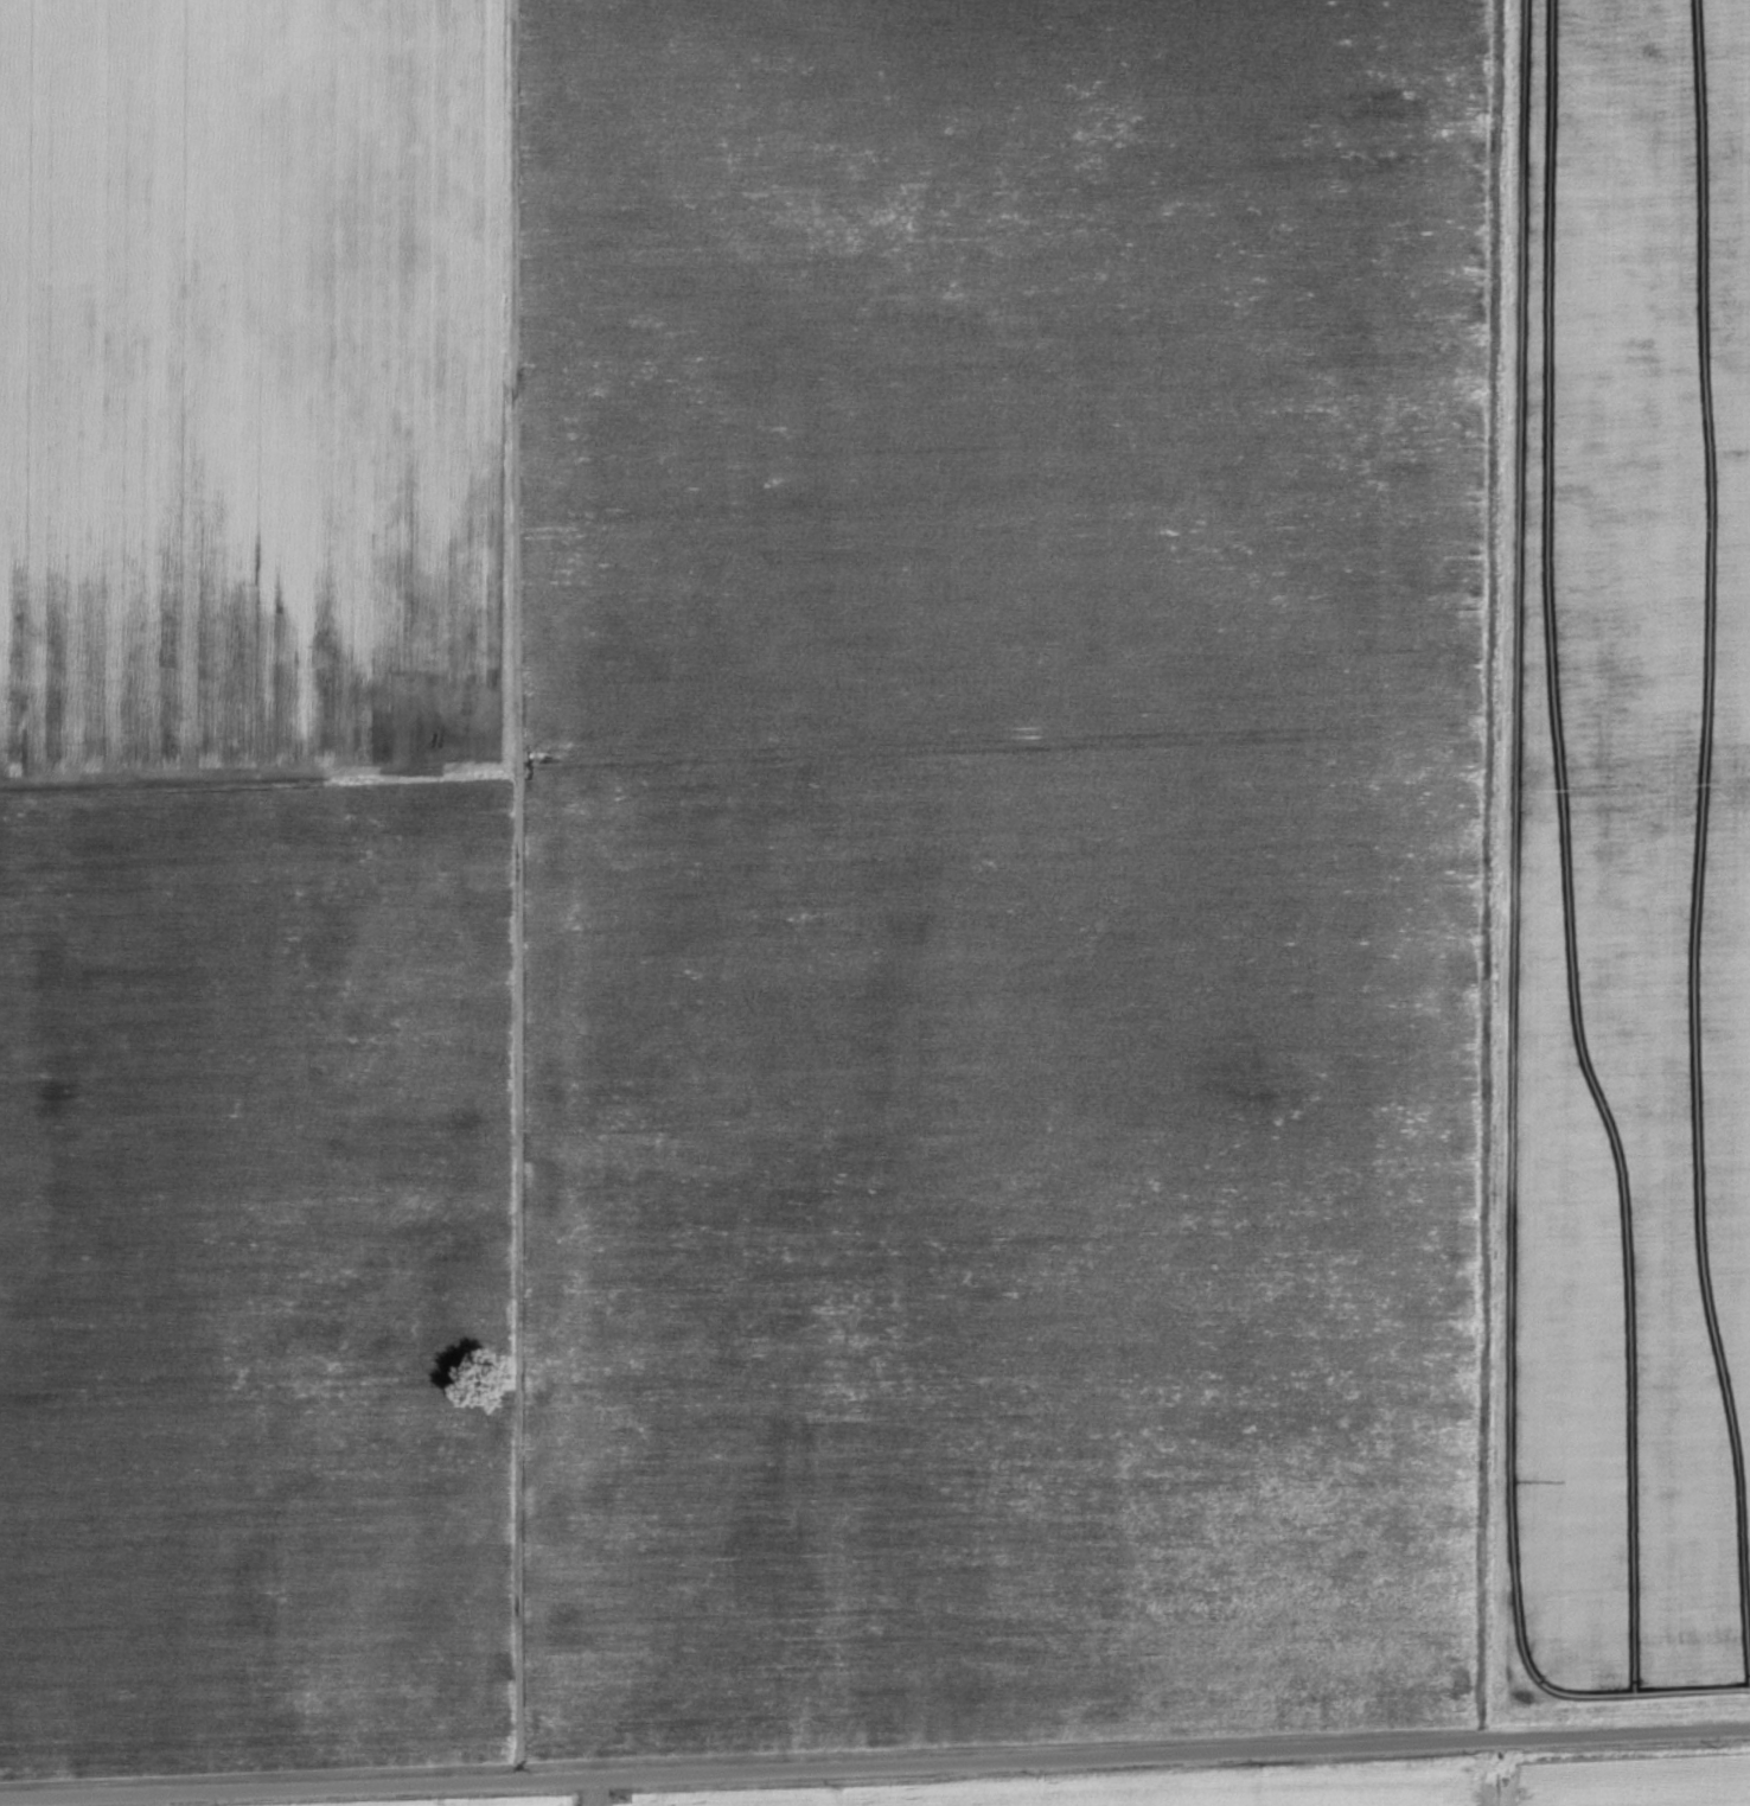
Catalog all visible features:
road: (875, 1764)
road: (602, 1791)

